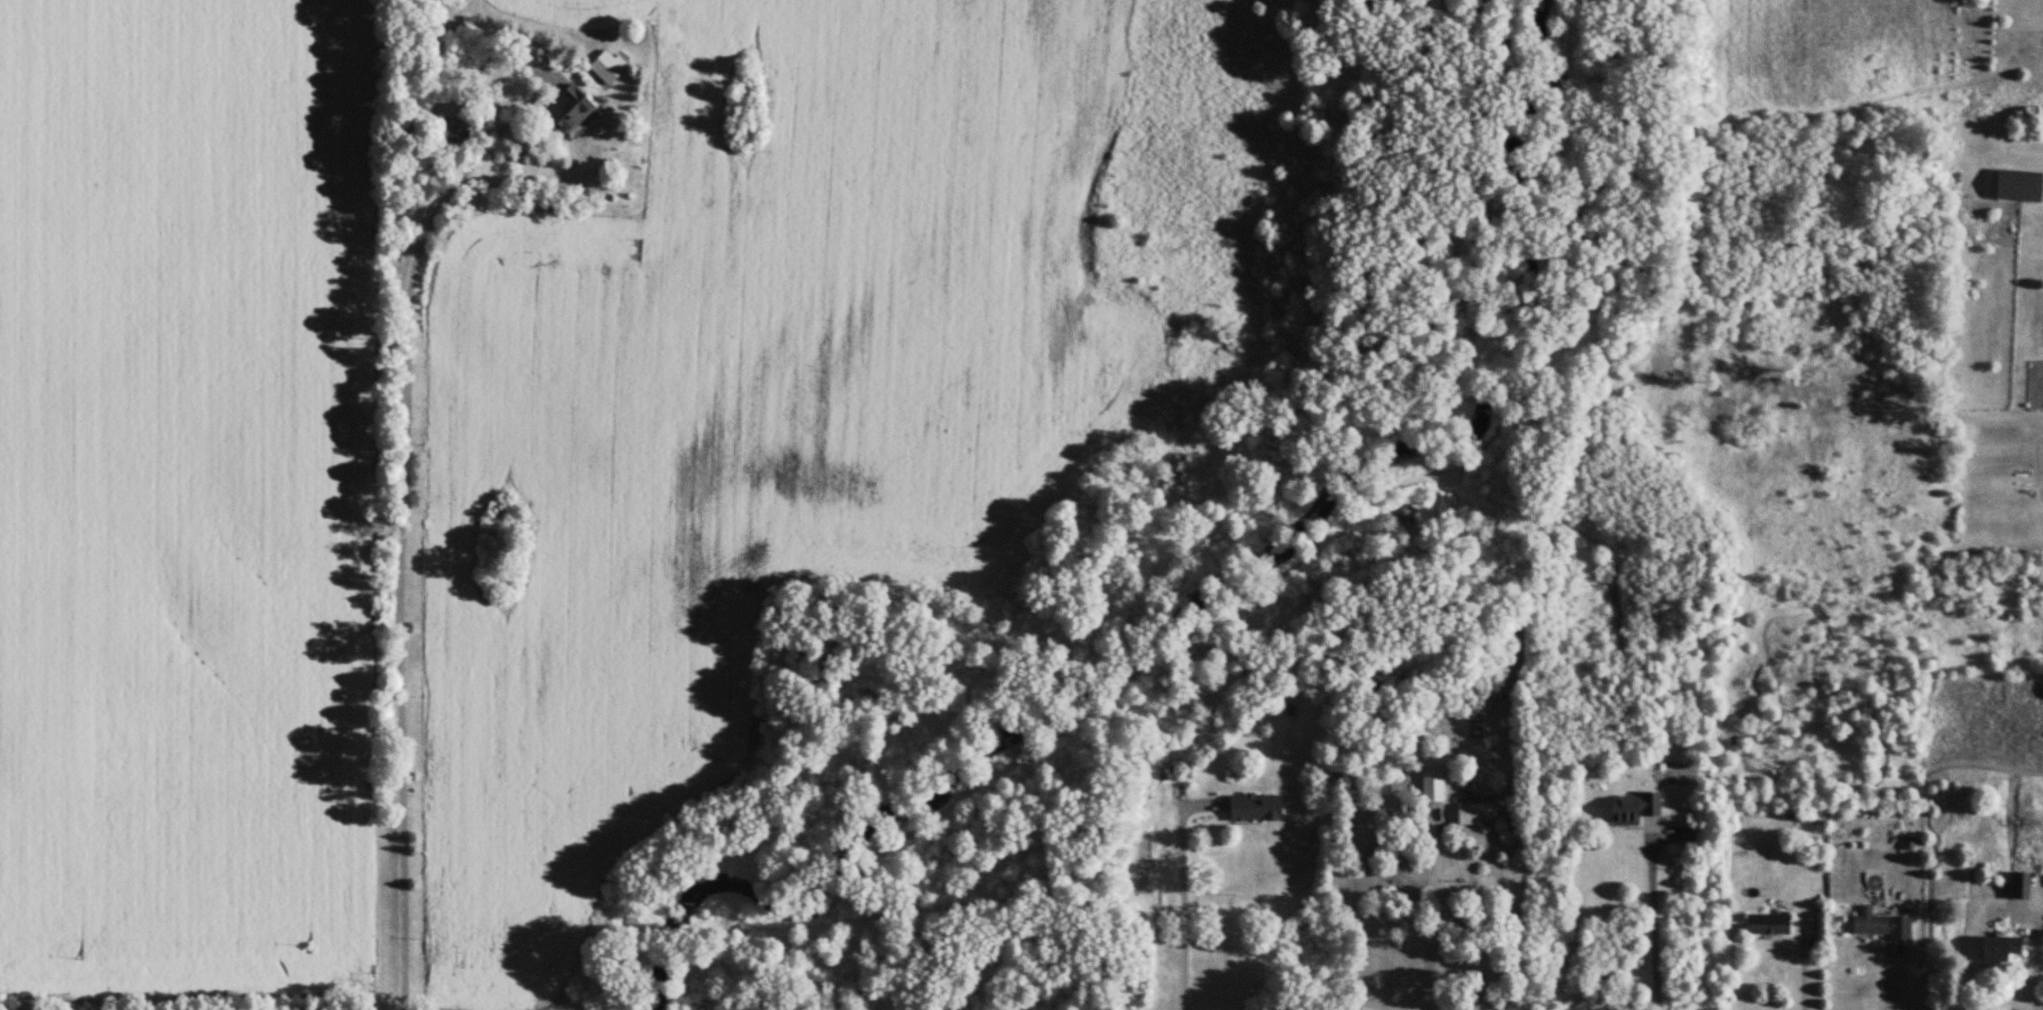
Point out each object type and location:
building: (601, 68)
building: (559, 110)
building: (2013, 187)
road: (402, 561)
building: (2041, 692)
building: (1428, 789)
building: (1246, 809)
building: (1627, 810)
building: (1472, 815)
building: (2012, 887)
road: (1183, 903)
road: (1436, 915)
road: (1652, 924)
building: (1865, 924)
building: (1763, 926)
building: (1992, 950)
road: (1891, 966)
road: (2033, 966)
road: (1802, 967)

